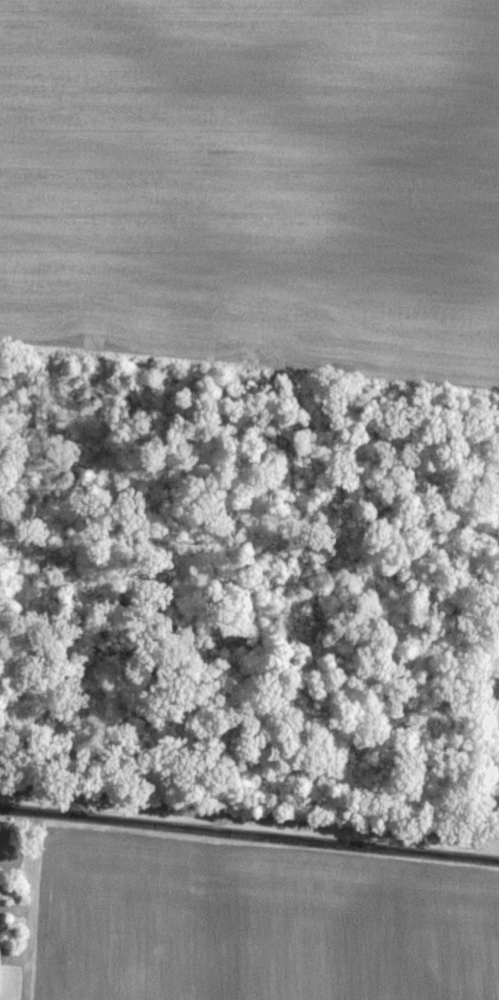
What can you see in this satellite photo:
road: (249, 832)
road: (28, 904)

